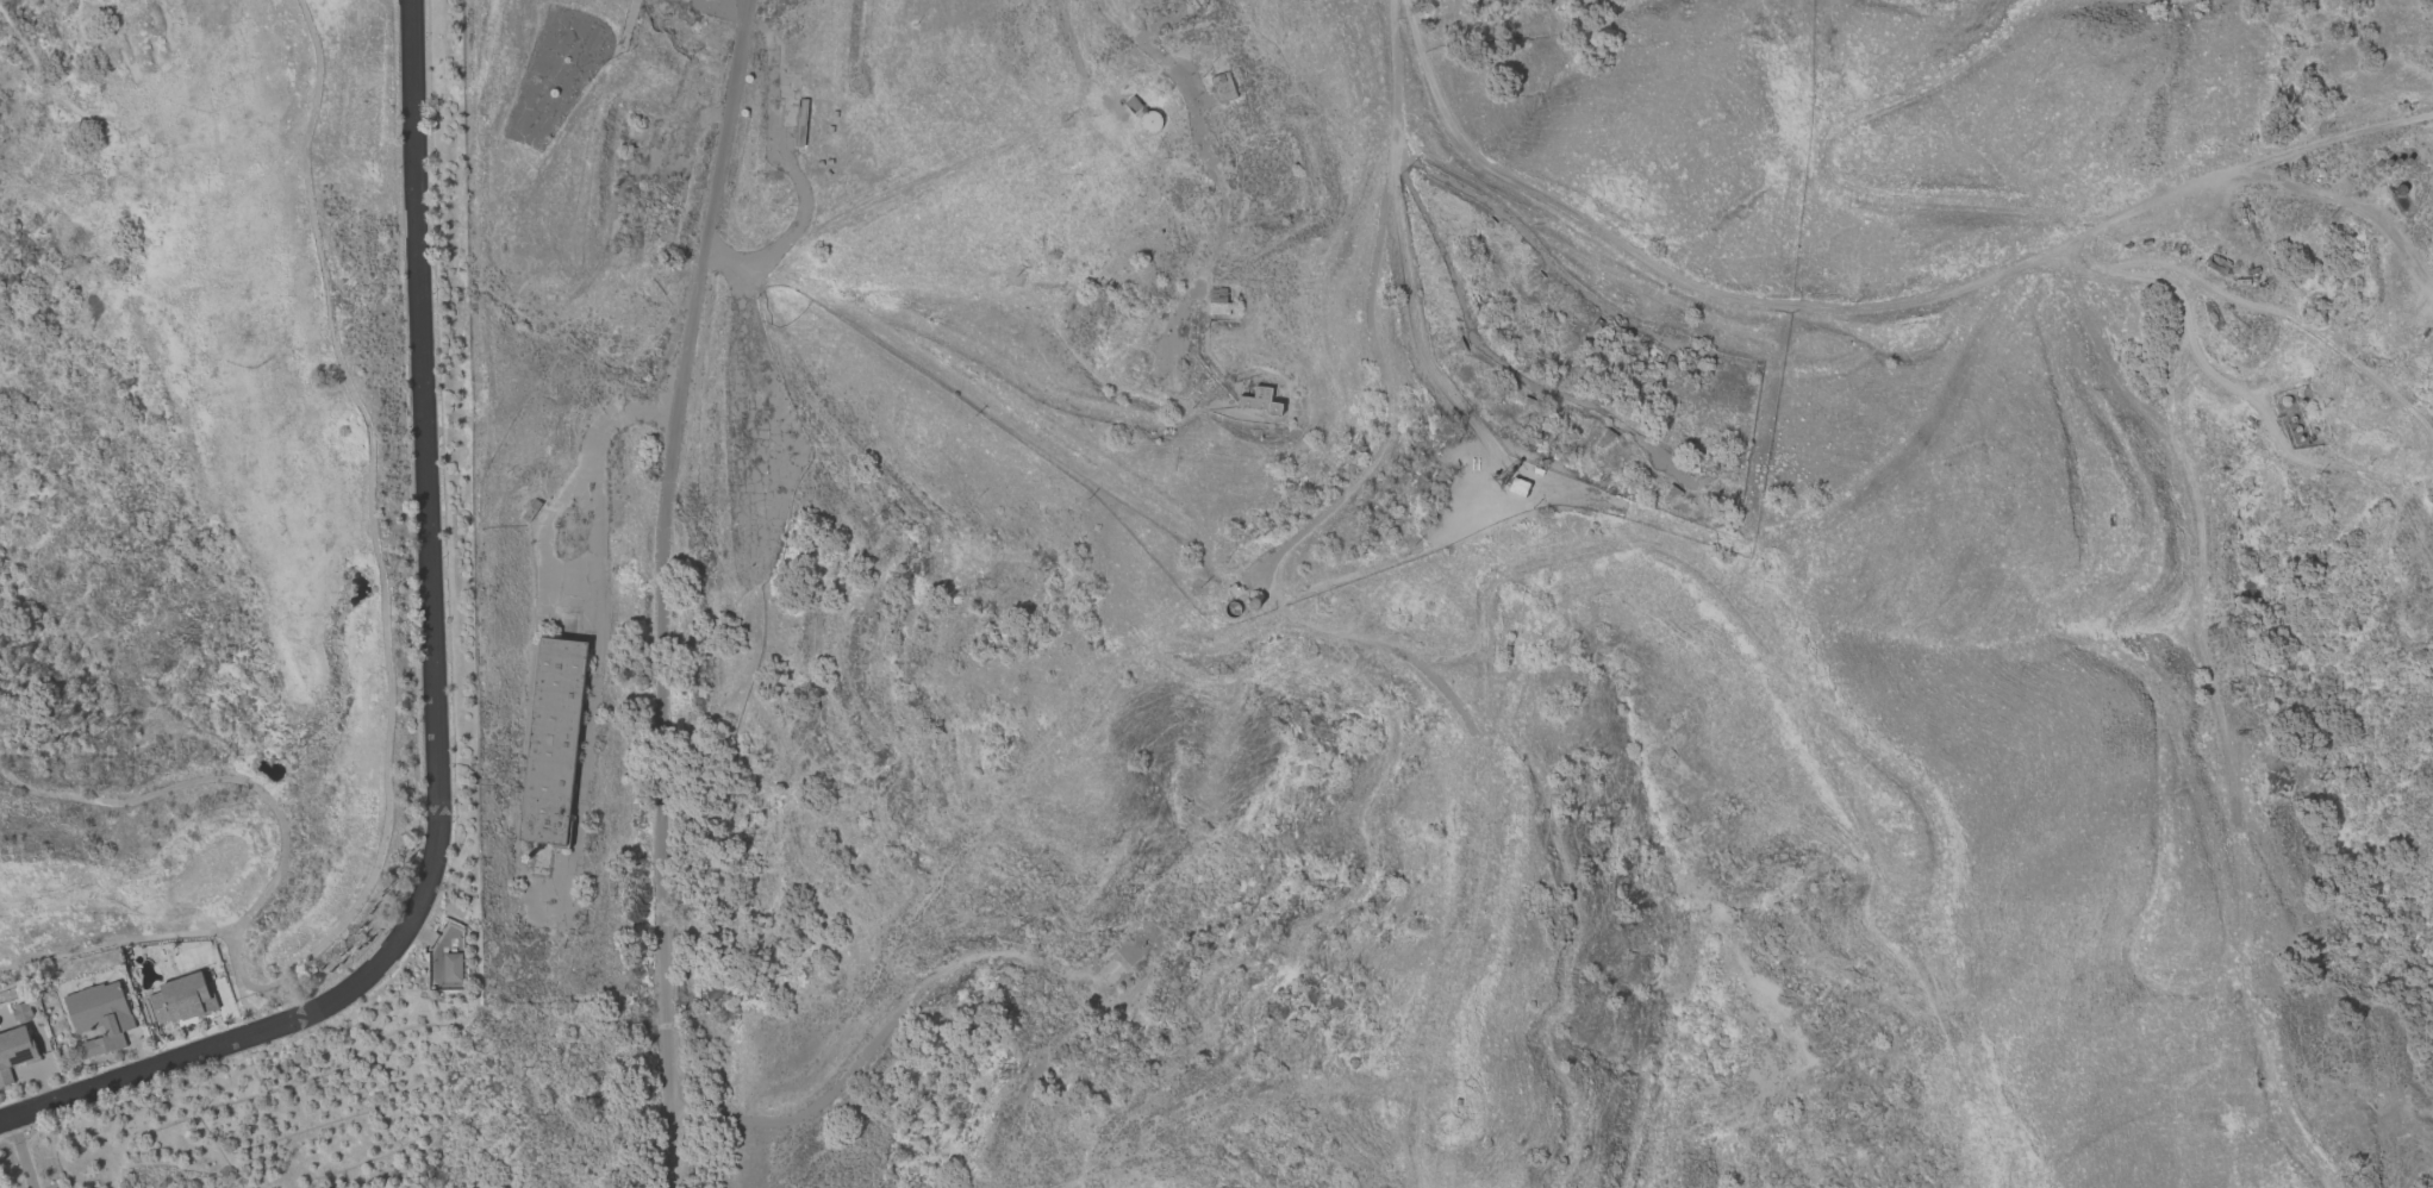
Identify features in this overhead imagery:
road: (1198, 132)
road: (1561, 265)
road: (1864, 298)
building: (1260, 401)
road: (1385, 445)
park: (193, 481)
road: (432, 486)
building: (1517, 487)
road: (1703, 579)
road: (666, 590)
building: (551, 742)
road: (1471, 914)
building: (453, 967)
building: (181, 999)
building: (21, 1013)
building: (99, 1017)
road: (882, 1039)
road: (198, 1051)
building: (13, 1052)

